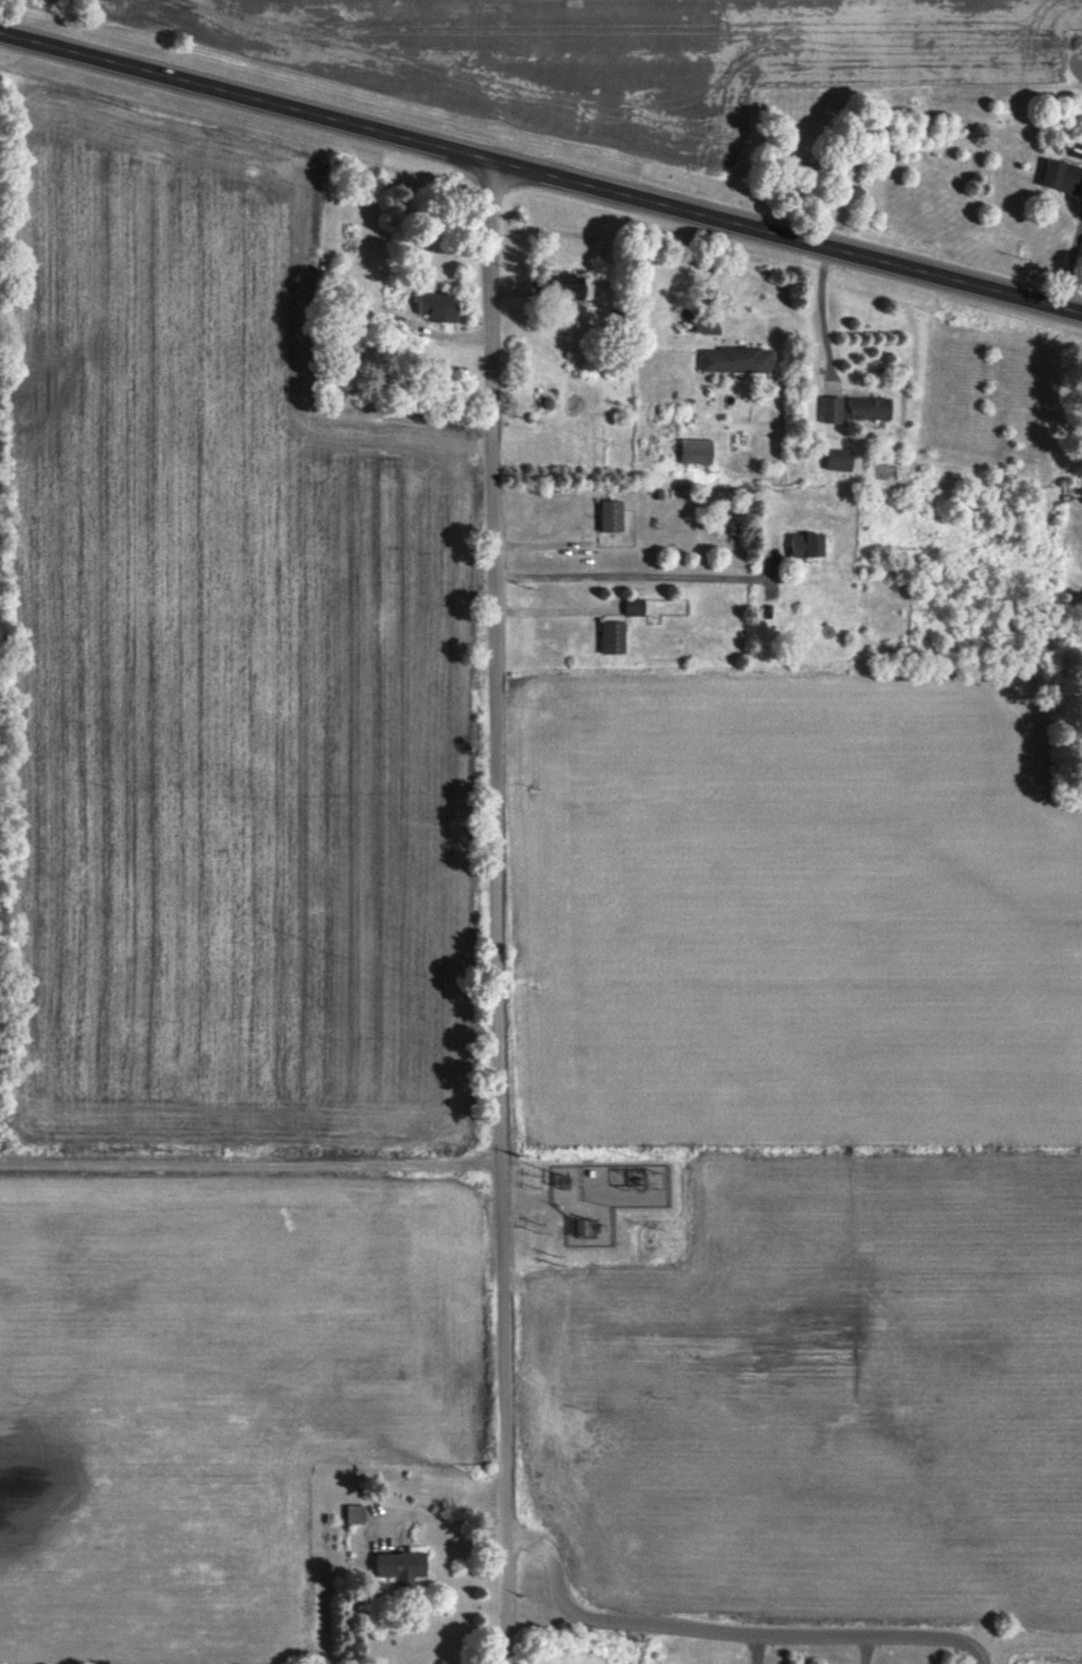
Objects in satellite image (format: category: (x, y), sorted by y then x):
road: (541, 173)
building: (1060, 176)
road: (1069, 261)
road: (710, 279)
building: (564, 287)
building: (435, 306)
road: (826, 311)
building: (735, 359)
building: (866, 408)
building: (830, 410)
building: (693, 451)
building: (837, 460)
building: (609, 516)
building: (804, 544)
road: (632, 576)
building: (632, 607)
building: (610, 637)
crop: (220, 687)
road: (500, 911)
crop: (792, 914)
road: (251, 1160)
power substation: (597, 1200)
crop: (209, 1391)
crop: (833, 1391)
road: (440, 1522)
building: (399, 1566)
road: (722, 1632)
road: (754, 1650)

